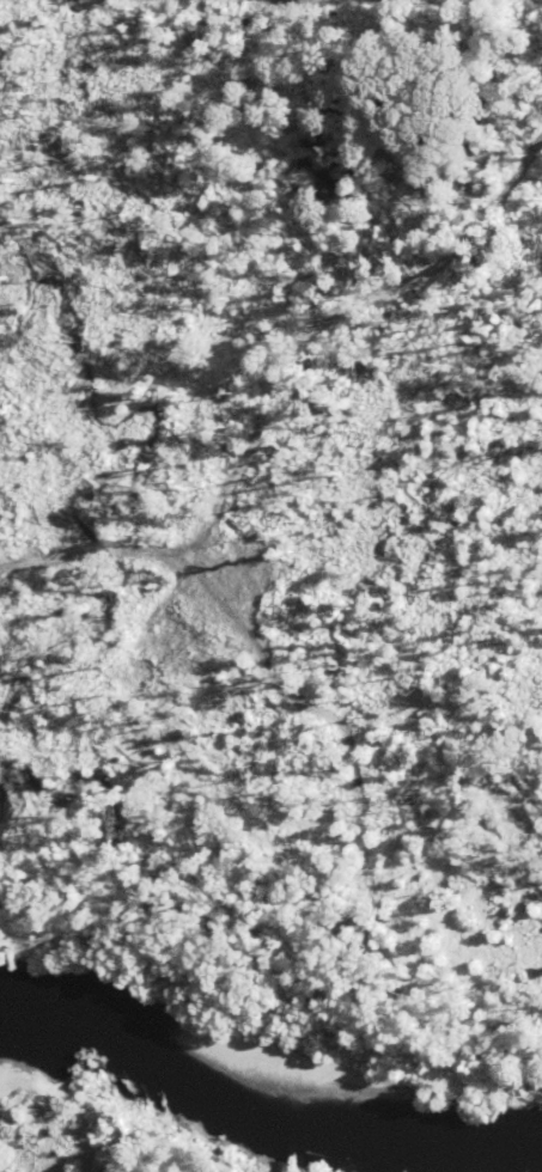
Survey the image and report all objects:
river: (274, 1058)

